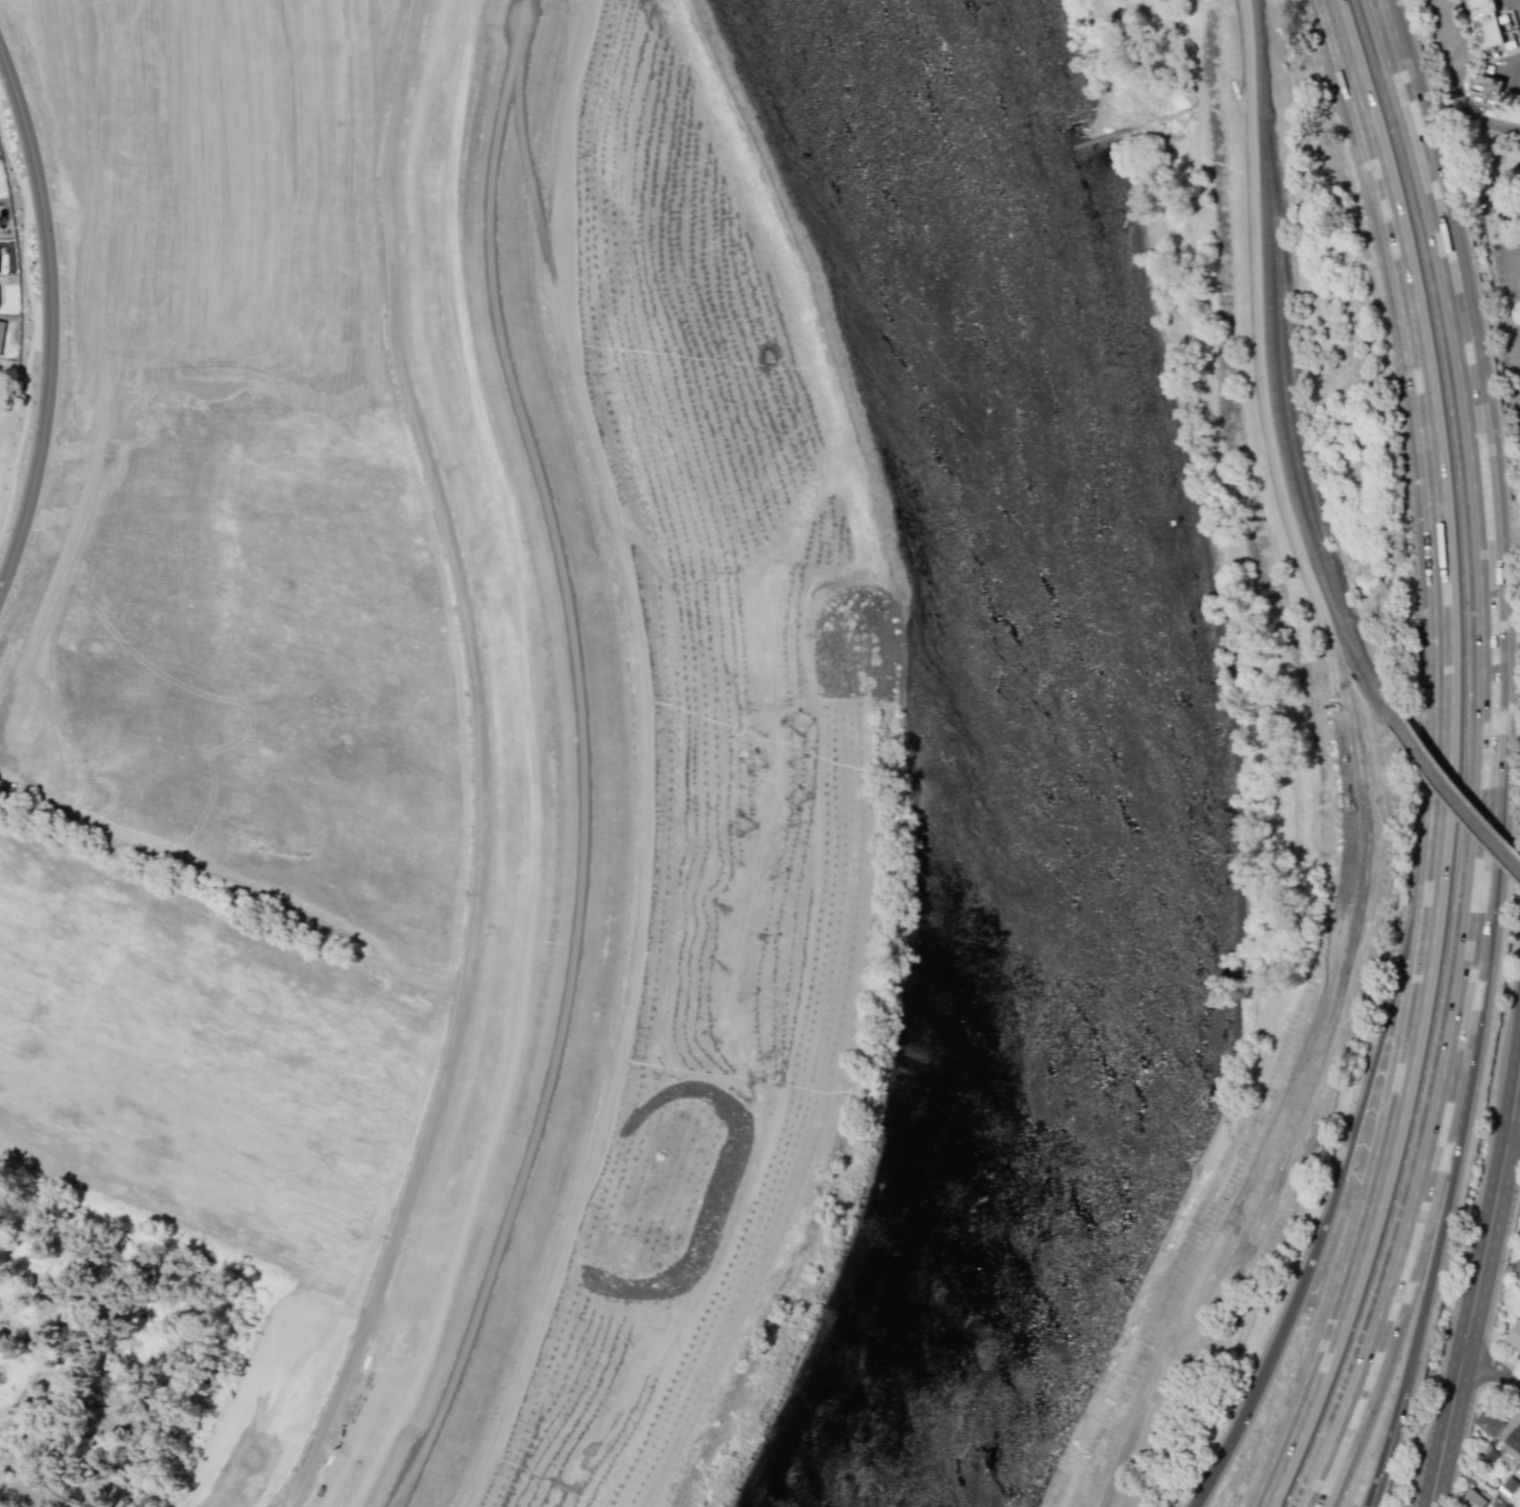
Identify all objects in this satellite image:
building: (1489, 22)
road: (1455, 84)
building: (1486, 90)
street lamp: (19, 166)
building: (1490, 227)
road: (50, 320)
building: (1, 333)
road: (1418, 360)
railway: (1272, 368)
street lamp: (31, 404)
railway: (1287, 414)
railway: (1298, 427)
crop: (223, 652)
road: (583, 760)
river: (1071, 760)
road: (1490, 760)
road: (9, 768)
road: (1363, 773)
road: (1442, 777)
railway: (1452, 793)
road: (1472, 1068)
road: (1393, 1128)
road: (1513, 1130)
road: (1354, 1131)
building: (592, 1246)
building: (1517, 1265)
road: (1479, 1270)
building: (1514, 1334)
road: (1492, 1367)
building: (1487, 1422)
building: (1513, 1439)
building: (1490, 1455)
building: (1507, 1486)
building: (1472, 1500)
building: (1493, 1503)

